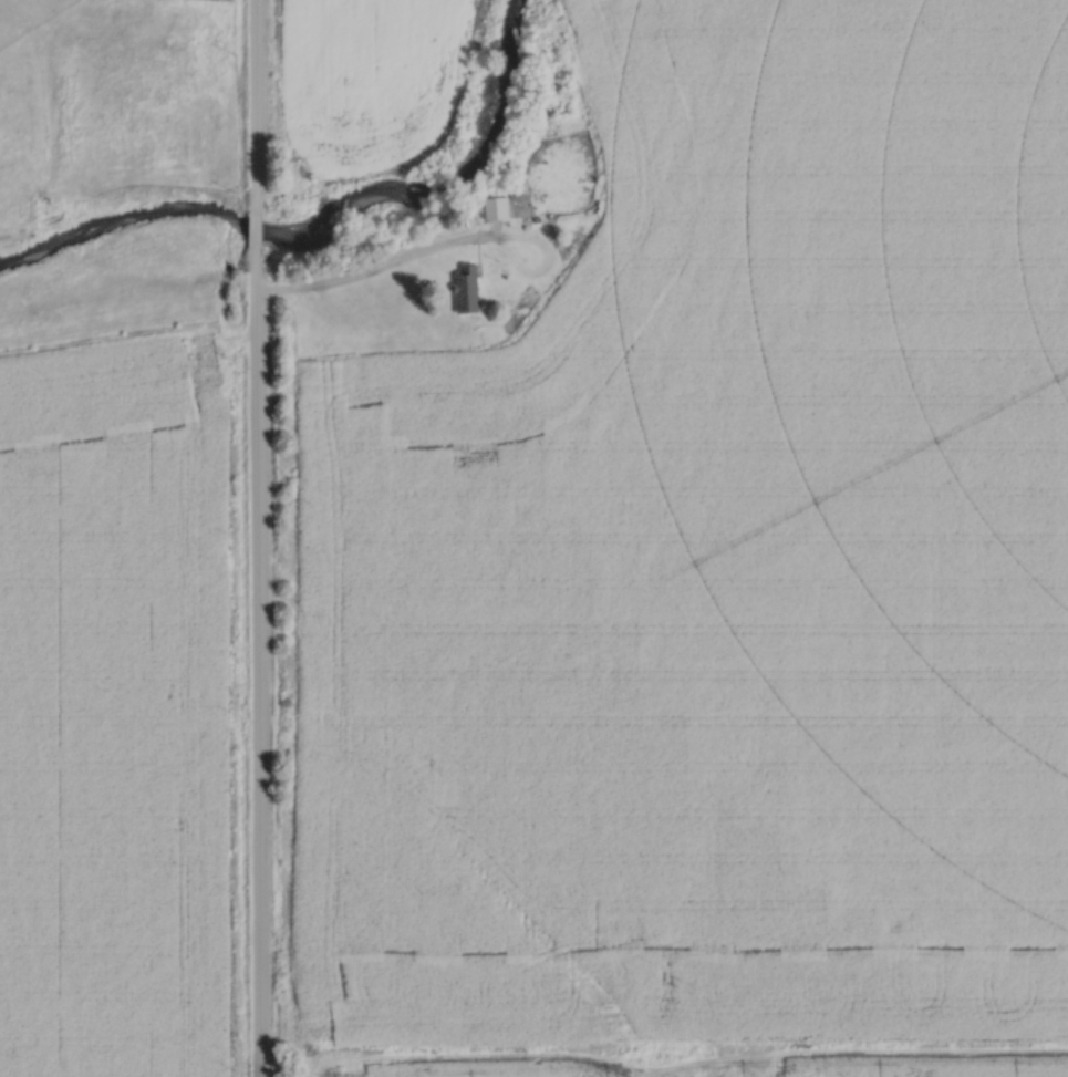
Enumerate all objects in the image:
road: (257, 107)
building: (497, 207)
river: (321, 219)
road: (255, 230)
road: (369, 268)
building: (467, 288)
road: (260, 660)
road: (687, 1067)
crop: (487, 1069)
crop: (915, 1070)

